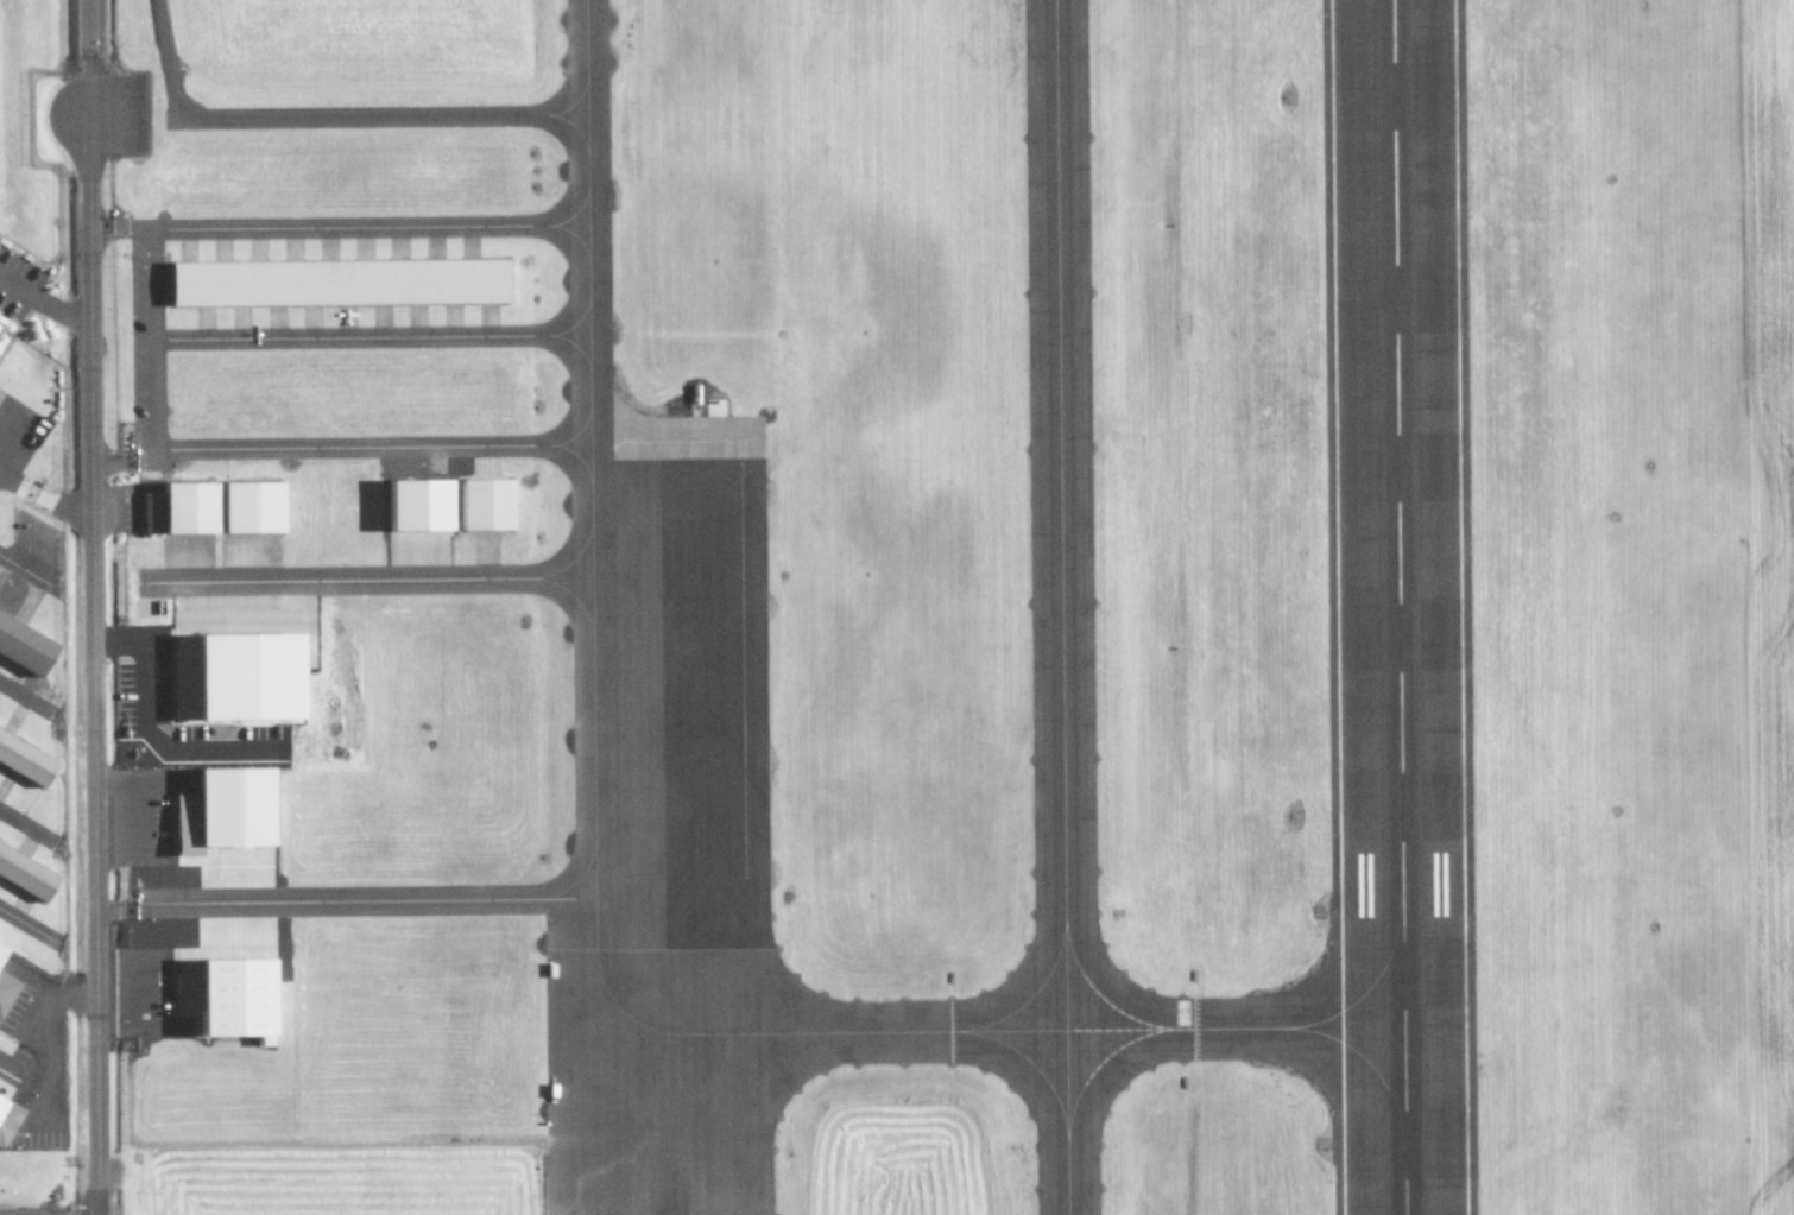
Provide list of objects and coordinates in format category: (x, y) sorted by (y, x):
road: (87, 57)
road: (321, 114)
road: (336, 229)
building: (334, 281)
road: (37, 302)
building: (0, 329)
road: (150, 337)
road: (368, 337)
road: (7, 428)
road: (371, 442)
road: (122, 475)
road: (45, 499)
airport hangar: (417, 501)
building: (417, 501)
building: (480, 505)
building: (240, 508)
building: (172, 510)
road: (368, 576)
crop: (1637, 602)
airport: (897, 607)
airport taxiway: (1057, 607)
airport runway: (1397, 607)
building: (24, 648)
road: (93, 664)
airport hangar: (241, 677)
building: (241, 677)
building: (23, 764)
building: (222, 806)
airport apron: (664, 855)
building: (23, 877)
road: (316, 907)
airport taxiway: (593, 922)
building: (5, 992)
building: (233, 996)
crop: (359, 1094)
building: (6, 1121)
crop: (898, 1132)

